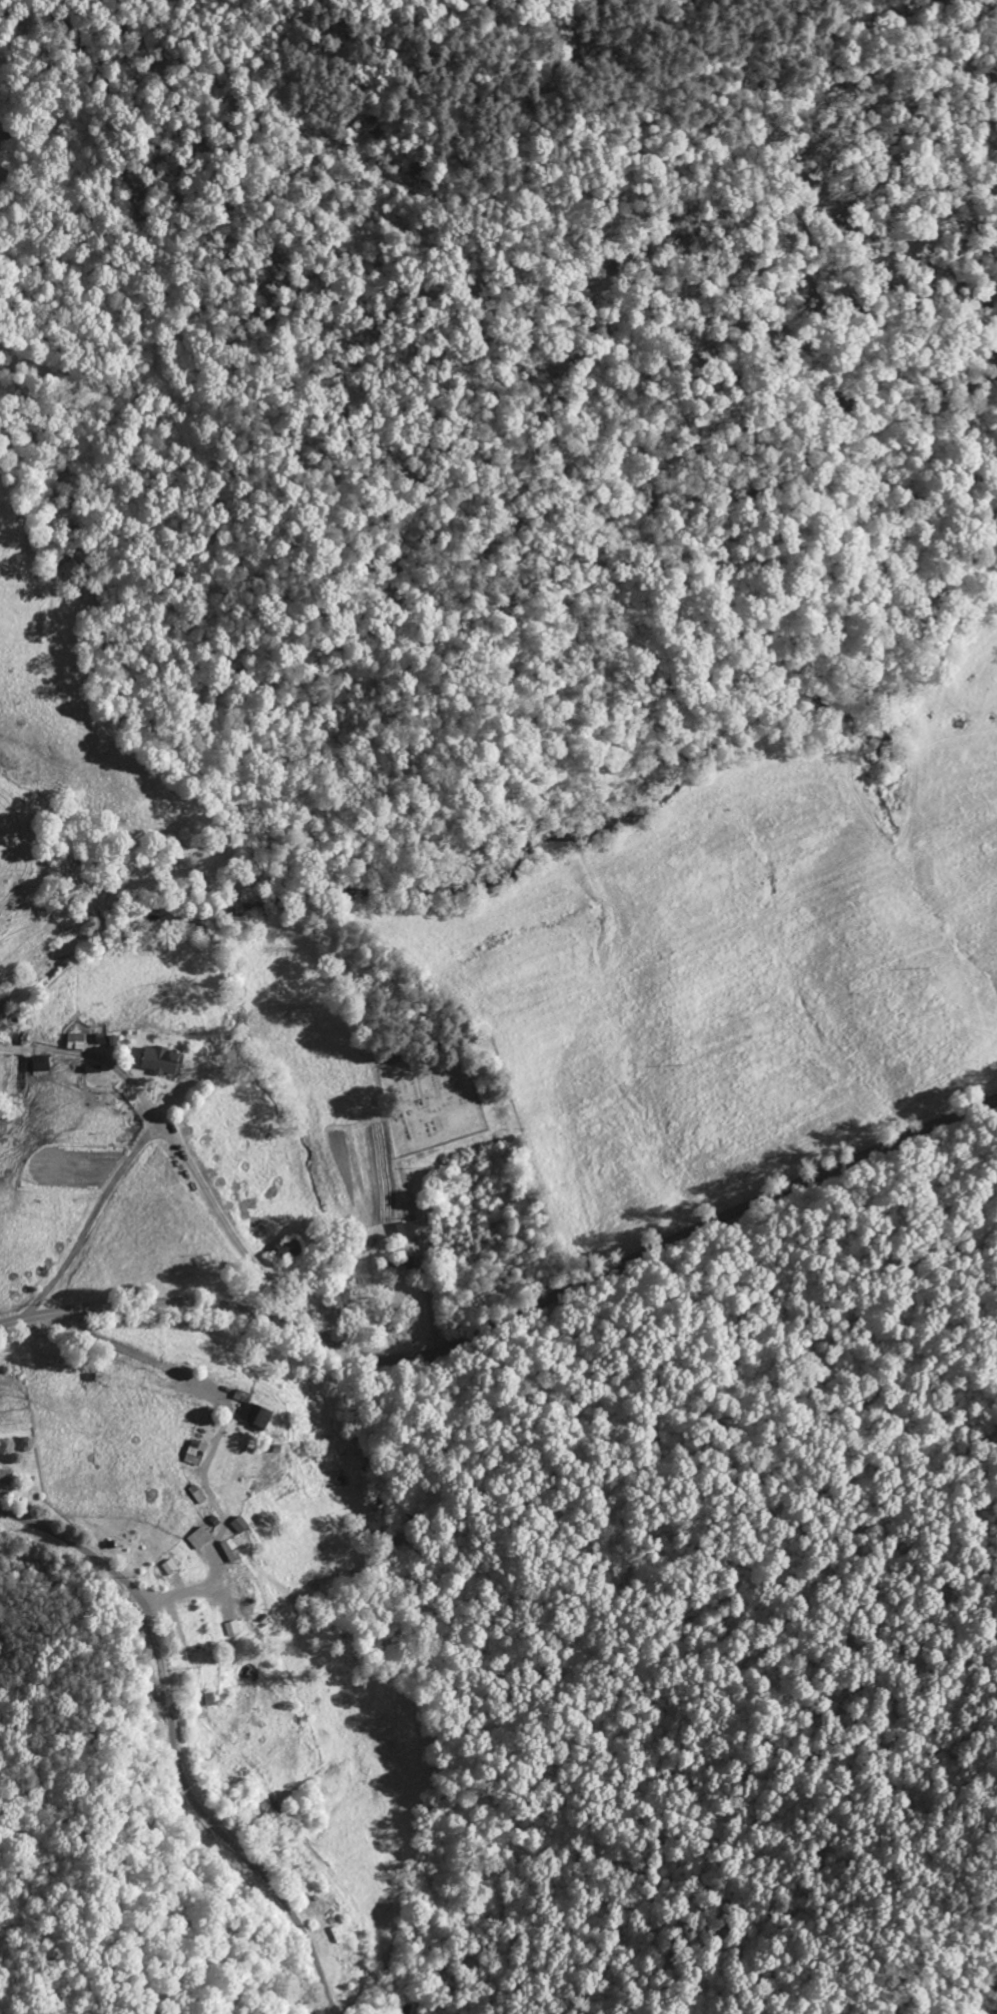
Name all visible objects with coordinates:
building: (101, 1037)
building: (75, 1040)
road: (5, 1047)
road: (16, 1048)
road: (104, 1060)
building: (159, 1060)
road: (205, 1194)
road: (91, 1221)
building: (405, 1229)
building: (288, 1247)
road: (423, 1260)
road: (510, 1318)
building: (250, 1410)
building: (194, 1452)
building: (198, 1538)
building: (227, 1551)
building: (168, 1566)
building: (240, 1592)
building: (230, 1628)
road: (174, 1746)

